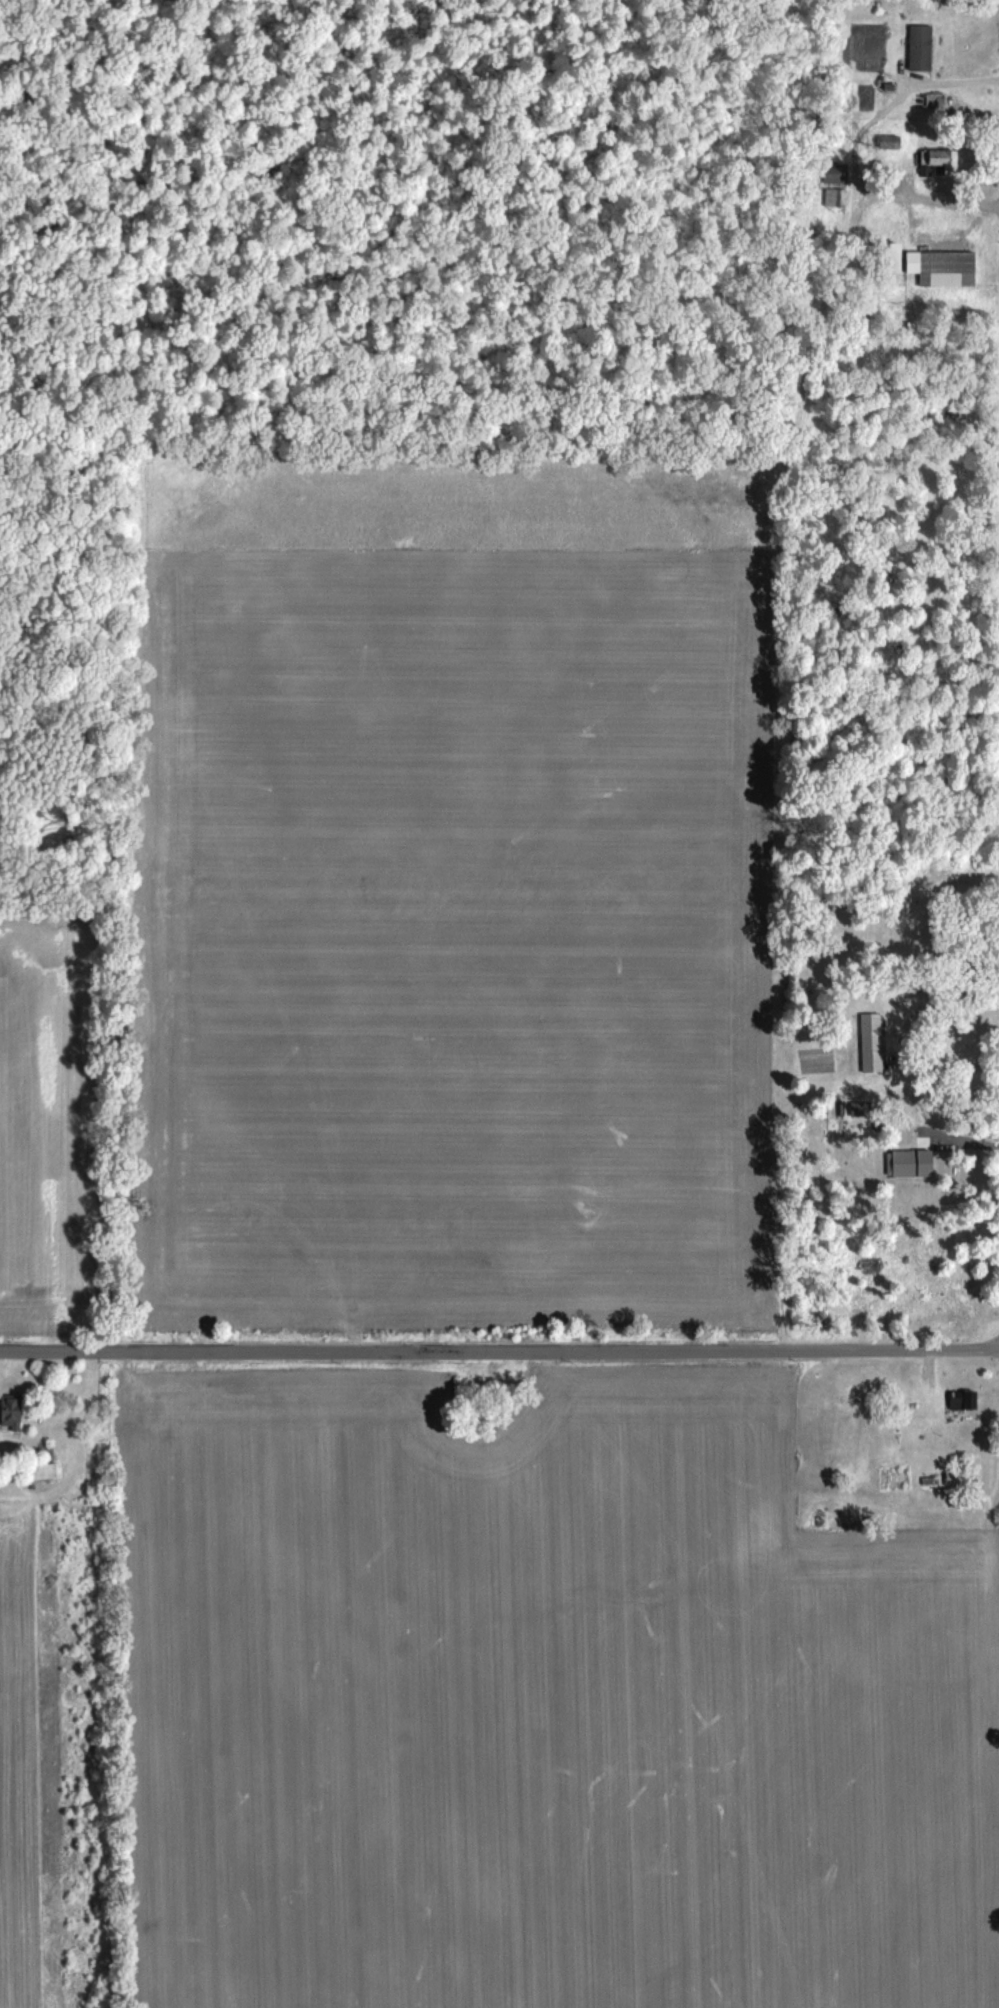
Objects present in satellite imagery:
building: (919, 48)
building: (892, 143)
road: (859, 148)
building: (936, 162)
building: (832, 173)
building: (832, 199)
building: (887, 256)
building: (941, 267)
crop: (460, 930)
road: (904, 1033)
building: (872, 1043)
building: (848, 1096)
building: (836, 1109)
building: (859, 1109)
crop: (40, 1118)
building: (908, 1163)
road: (499, 1348)
building: (963, 1398)
building: (8, 1411)
building: (36, 1471)
building: (888, 1478)

